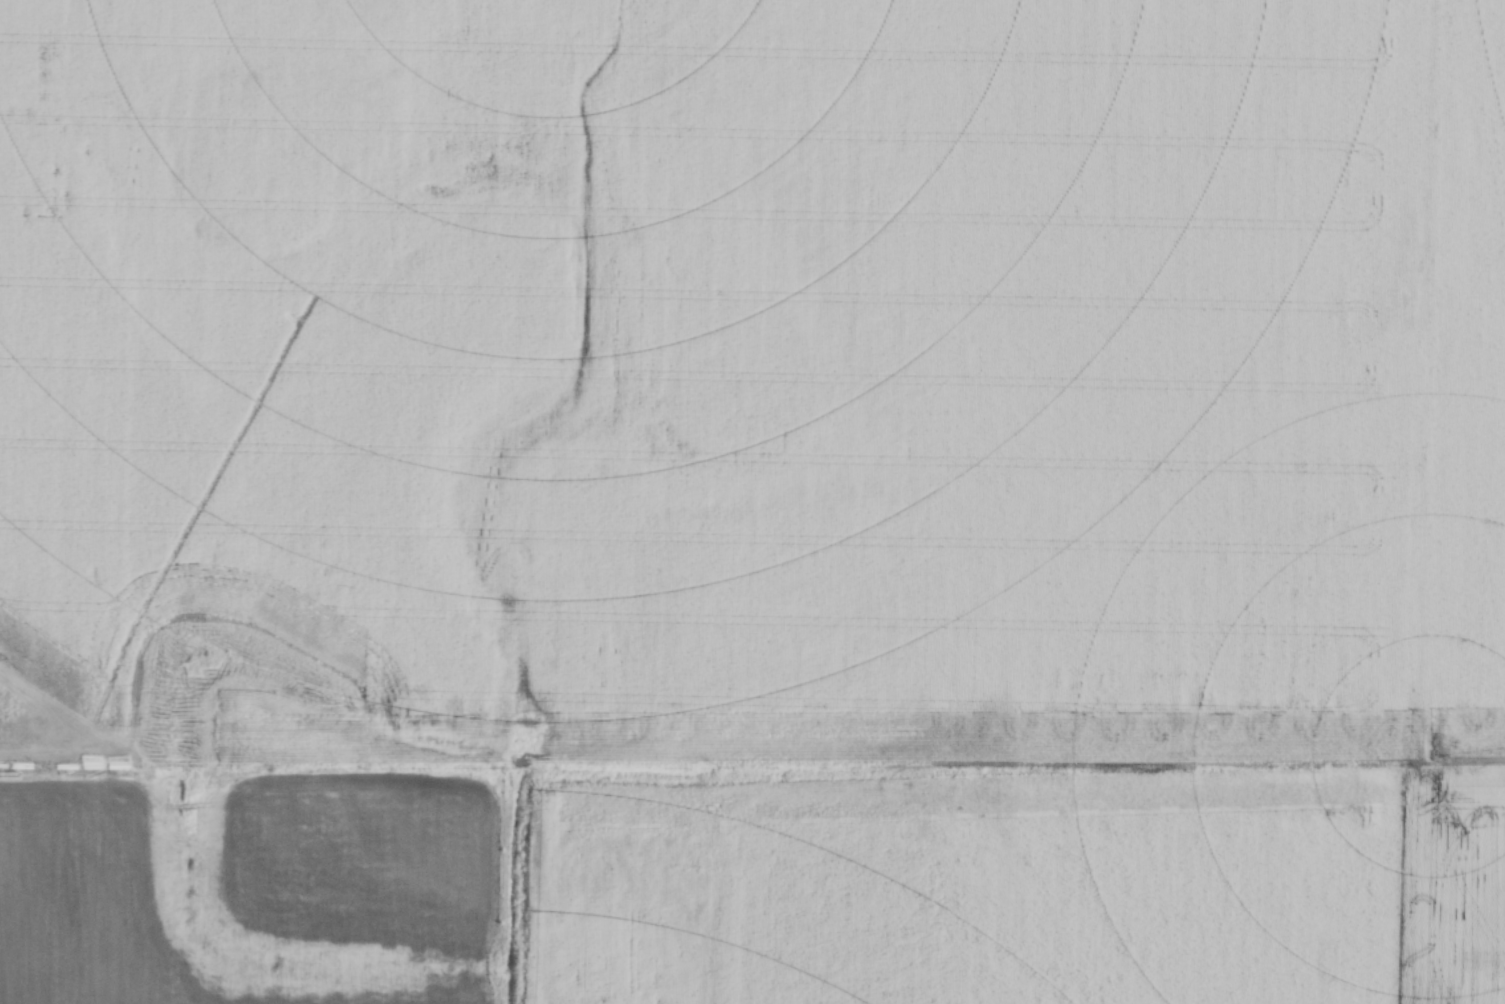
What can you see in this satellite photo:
building: (90, 764)

